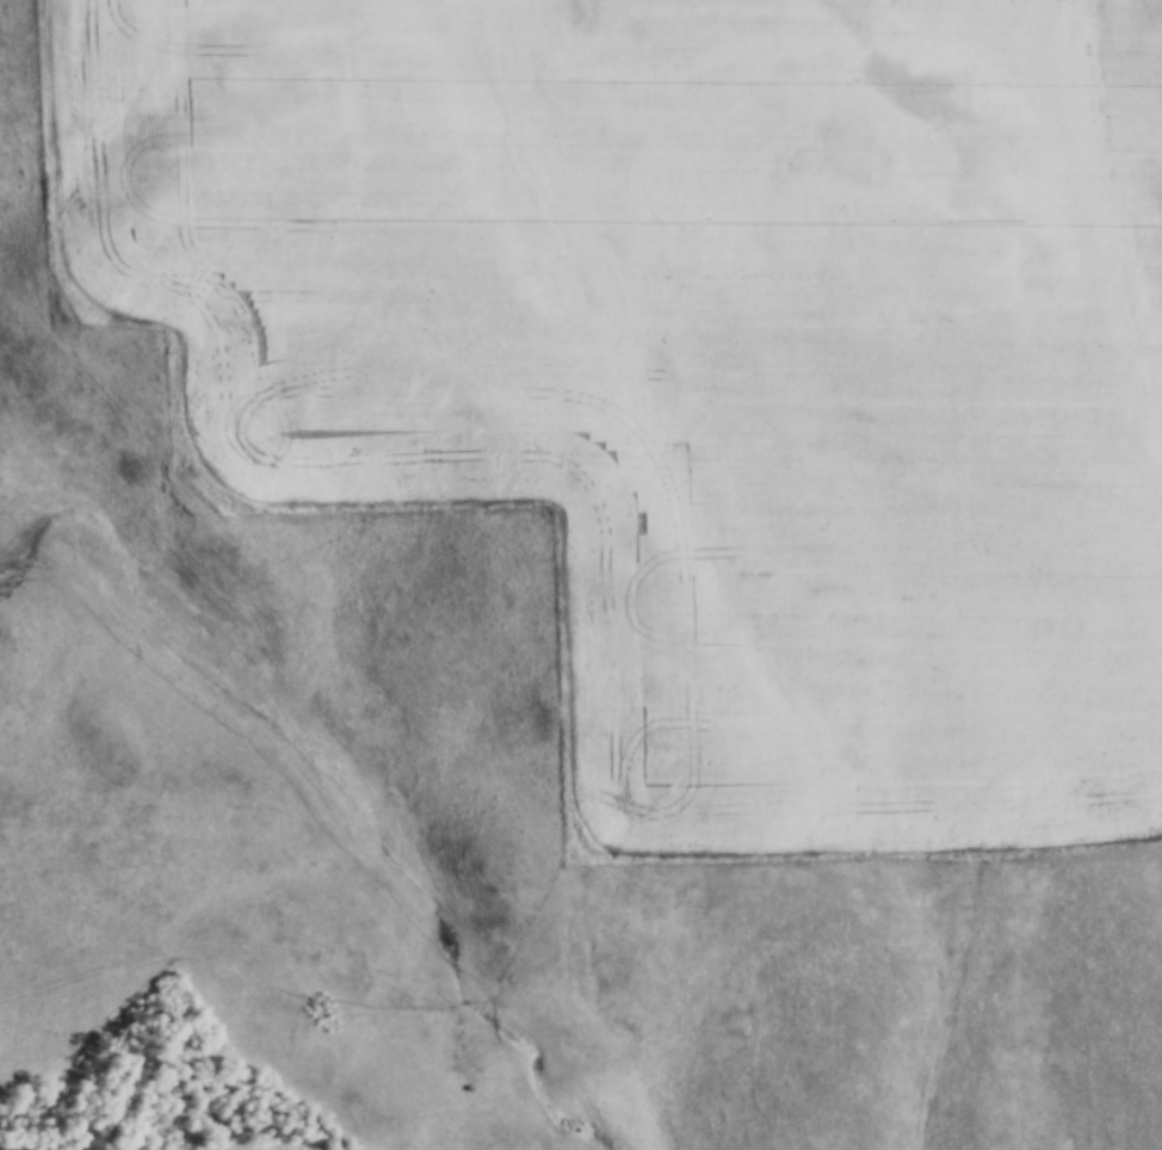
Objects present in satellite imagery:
building: (1108, 663)

